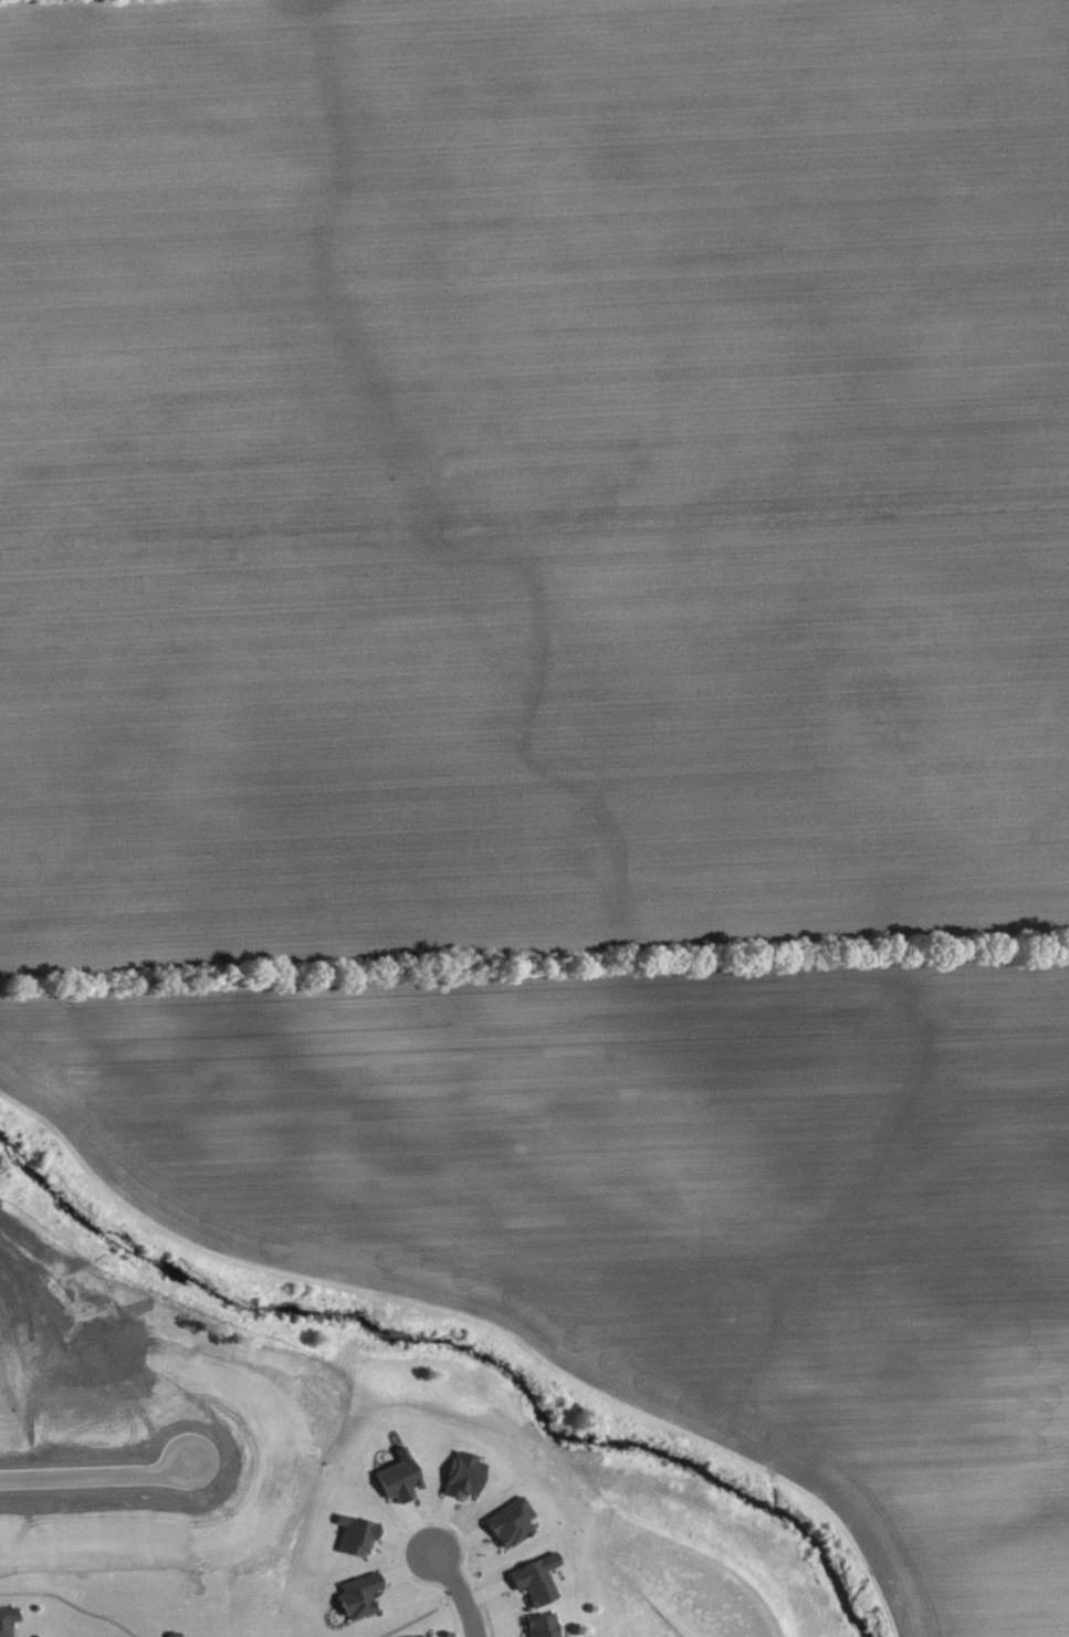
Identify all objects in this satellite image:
road: (95, 1473)
building: (467, 1483)
building: (400, 1484)
building: (513, 1530)
building: (358, 1543)
building: (538, 1587)
road: (460, 1593)
building: (361, 1604)
building: (9, 1625)
building: (544, 1629)

